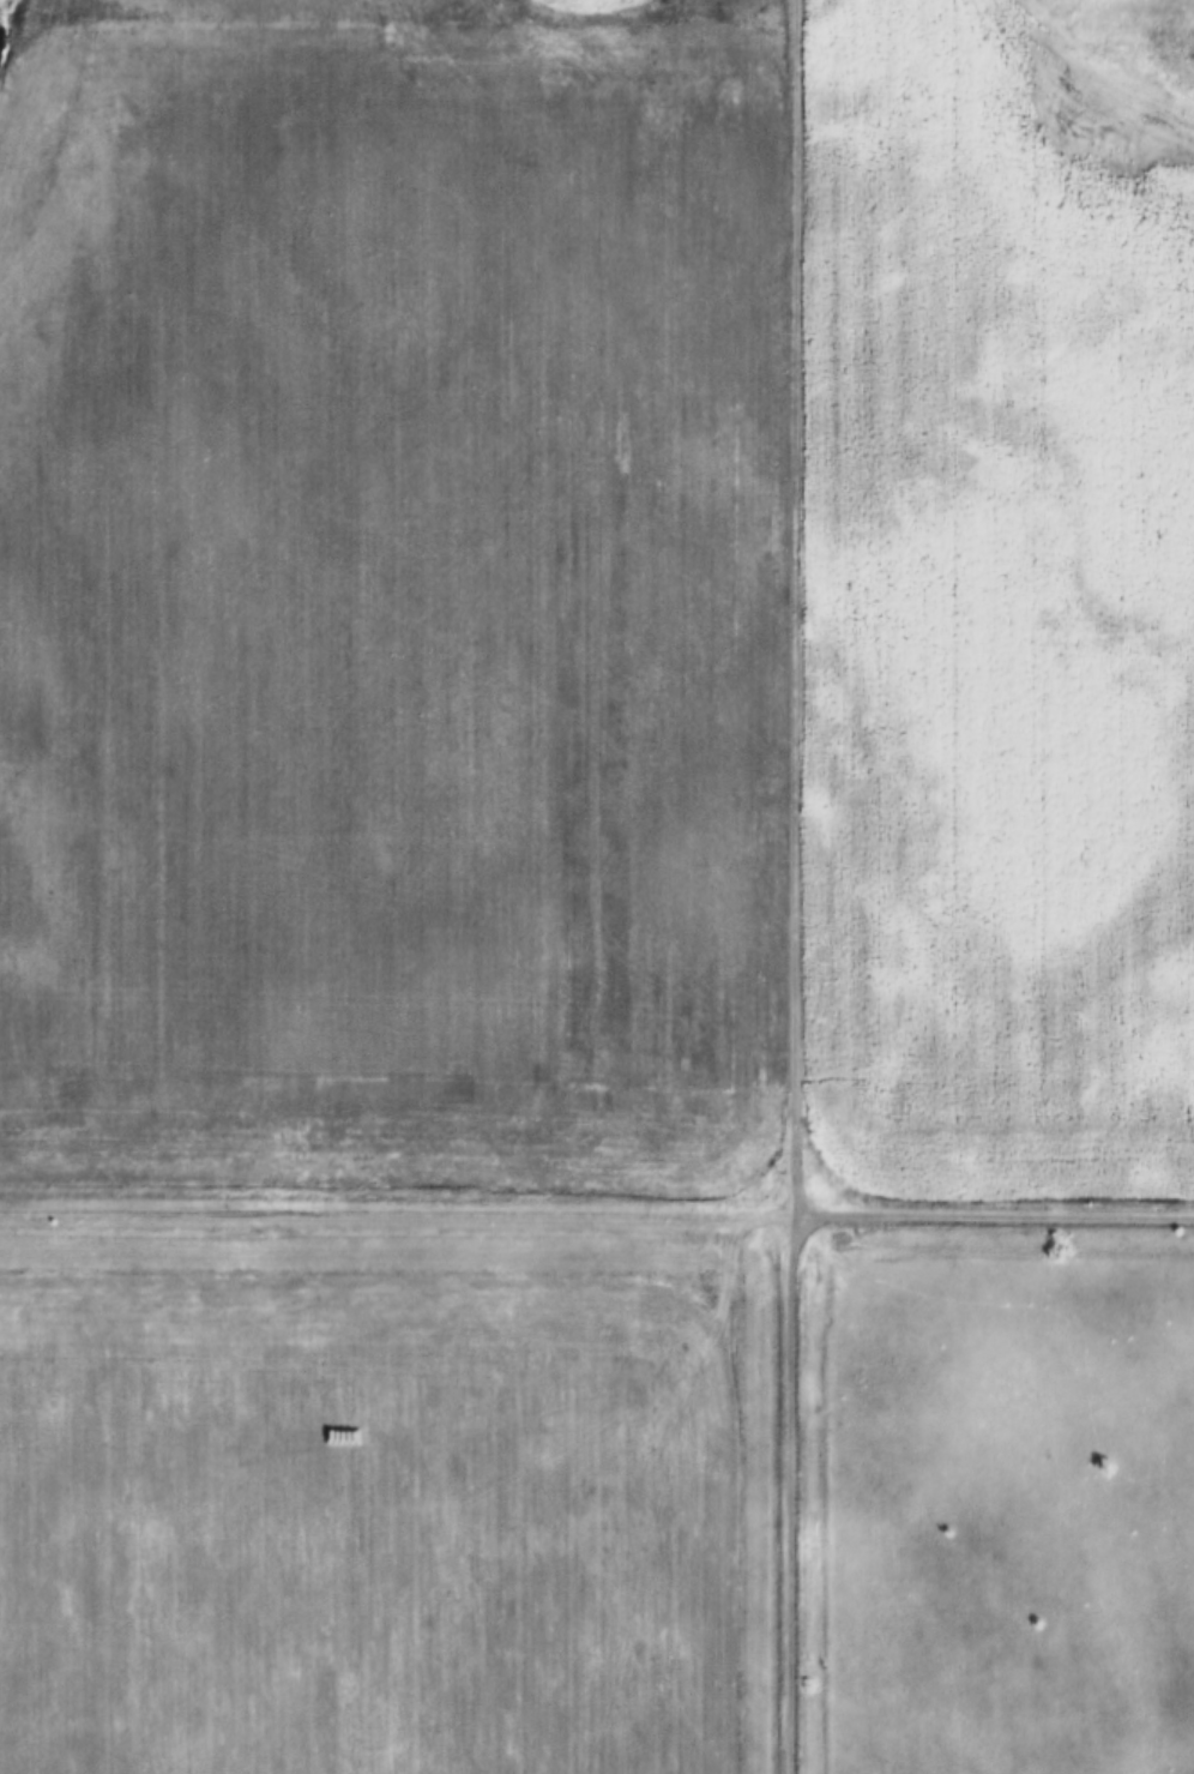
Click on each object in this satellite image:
road: (791, 886)
road: (596, 1213)

